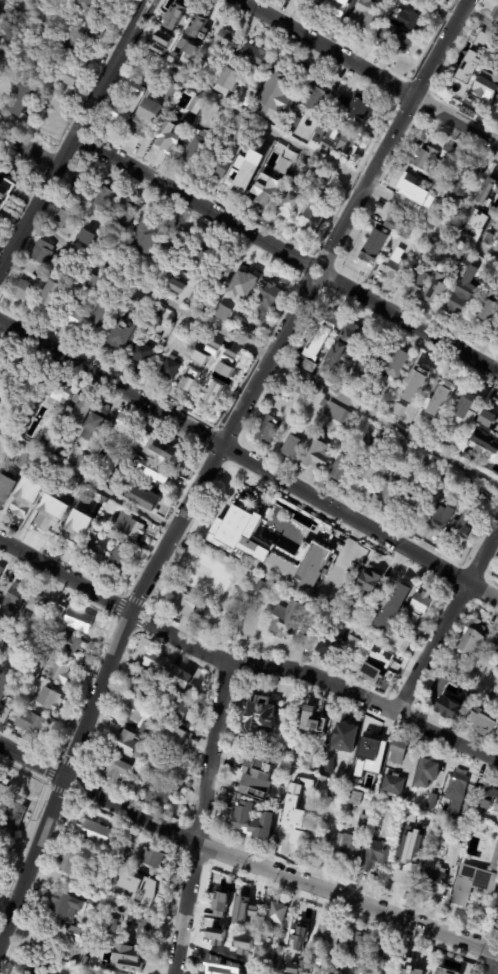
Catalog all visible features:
building: (18, 1)
building: (317, 1)
building: (410, 1)
building: (91, 5)
building: (338, 7)
building: (365, 16)
building: (1, 17)
building: (497, 17)
building: (175, 19)
building: (409, 20)
building: (89, 29)
building: (199, 29)
building: (163, 38)
building: (393, 39)
building: (223, 42)
building: (67, 46)
building: (157, 47)
building: (198, 49)
building: (161, 52)
building: (177, 52)
building: (255, 56)
building: (10, 71)
road: (368, 71)
building: (67, 76)
building: (303, 76)
building: (462, 81)
building: (229, 82)
building: (484, 93)
building: (316, 96)
building: (276, 97)
building: (21, 100)
building: (127, 106)
building: (197, 106)
building: (357, 108)
building: (152, 114)
power tower: (93, 125)
road: (395, 131)
road: (73, 133)
building: (322, 133)
building: (169, 136)
building: (234, 136)
building: (343, 141)
building: (196, 148)
road: (28, 149)
road: (309, 151)
building: (452, 155)
building: (428, 159)
building: (220, 167)
building: (284, 167)
building: (250, 169)
building: (326, 178)
building: (335, 180)
building: (463, 184)
building: (79, 187)
building: (409, 187)
building: (266, 190)
building: (0, 192)
building: (295, 193)
road: (190, 199)
building: (105, 201)
building: (487, 201)
building: (3, 202)
building: (124, 214)
building: (63, 217)
building: (314, 217)
building: (393, 220)
building: (405, 231)
building: (146, 237)
building: (89, 239)
building: (175, 243)
building: (442, 243)
building: (373, 247)
building: (43, 254)
building: (459, 254)
building: (205, 255)
building: (466, 264)
road: (307, 265)
building: (397, 266)
building: (223, 269)
road: (326, 275)
building: (246, 281)
building: (90, 282)
building: (418, 282)
building: (176, 289)
building: (23, 291)
building: (437, 291)
building: (466, 295)
building: (52, 298)
building: (91, 299)
building: (269, 301)
building: (158, 310)
building: (207, 312)
building: (222, 312)
building: (490, 313)
building: (238, 315)
building: (73, 318)
building: (99, 320)
road: (412, 323)
building: (248, 334)
building: (323, 336)
building: (118, 339)
building: (347, 344)
building: (202, 347)
building: (0, 348)
building: (1, 351)
road: (262, 352)
building: (142, 355)
building: (369, 355)
building: (399, 364)
building: (309, 366)
building: (192, 367)
building: (170, 370)
building: (188, 373)
building: (217, 375)
building: (333, 380)
building: (32, 383)
building: (416, 385)
building: (58, 391)
building: (444, 396)
building: (324, 403)
building: (465, 408)
building: (80, 409)
building: (399, 410)
building: (338, 415)
building: (488, 419)
building: (96, 424)
building: (423, 424)
building: (125, 427)
building: (268, 430)
building: (0, 440)
building: (367, 440)
building: (480, 445)
building: (293, 446)
building: (58, 448)
building: (159, 450)
building: (319, 455)
road: (249, 460)
building: (25, 462)
building: (82, 463)
building: (341, 469)
building: (107, 471)
building: (494, 471)
building: (156, 473)
building: (368, 478)
road: (87, 480)
building: (6, 487)
building: (392, 491)
building: (74, 492)
building: (27, 498)
building: (147, 500)
building: (85, 504)
building: (411, 506)
building: (51, 514)
building: (442, 518)
building: (462, 526)
building: (130, 527)
building: (78, 529)
building: (269, 551)
building: (95, 553)
building: (119, 561)
building: (1, 571)
building: (200, 573)
building: (374, 576)
building: (14, 599)
road: (135, 600)
building: (186, 605)
building: (37, 607)
building: (419, 607)
building: (393, 609)
building: (60, 612)
building: (172, 617)
building: (0, 619)
road: (446, 619)
building: (288, 620)
building: (79, 621)
building: (426, 621)
building: (414, 631)
building: (4, 632)
building: (475, 638)
building: (70, 644)
building: (401, 644)
building: (494, 646)
building: (331, 648)
building: (352, 654)
building: (384, 658)
building: (34, 659)
building: (15, 660)
road: (243, 665)
building: (168, 670)
building: (59, 672)
building: (374, 675)
building: (2, 687)
building: (145, 691)
building: (18, 696)
building: (49, 700)
building: (451, 703)
building: (183, 709)
building: (140, 712)
building: (6, 714)
building: (260, 717)
building: (480, 719)
building: (315, 721)
building: (28, 722)
building: (114, 728)
building: (496, 730)
building: (149, 731)
building: (10, 737)
building: (497, 737)
building: (347, 738)
building: (178, 741)
building: (373, 744)
building: (128, 745)
building: (399, 751)
building: (362, 760)
building: (170, 765)
building: (330, 765)
building: (150, 768)
building: (114, 769)
building: (137, 772)
building: (293, 773)
building: (428, 773)
building: (259, 778)
building: (393, 785)
building: (330, 792)
building: (3, 794)
building: (159, 795)
building: (292, 797)
building: (458, 797)
building: (491, 797)
building: (355, 798)
building: (432, 801)
road: (200, 818)
building: (253, 821)
building: (9, 822)
building: (363, 822)
building: (296, 828)
building: (95, 831)
building: (462, 832)
building: (318, 843)
building: (411, 844)
building: (351, 849)
building: (125, 850)
building: (420, 854)
building: (377, 855)
building: (110, 858)
building: (153, 858)
road: (243, 861)
building: (73, 865)
building: (406, 875)
building: (433, 878)
building: (473, 879)
building: (118, 883)
building: (145, 888)
building: (219, 895)
building: (93, 900)
building: (153, 905)
building: (246, 905)
building: (63, 907)
building: (258, 910)
building: (275, 913)
building: (450, 913)
building: (462, 915)
building: (109, 924)
building: (300, 925)
building: (141, 929)
building: (329, 931)
building: (312, 934)
building: (76, 935)
building: (216, 937)
building: (223, 937)
building: (45, 944)
building: (355, 945)
building: (243, 948)
building: (384, 951)
building: (255, 954)
building: (132, 959)
building: (276, 959)
building: (323, 959)
building: (95, 960)
building: (409, 961)
road: (488, 962)
building: (211, 964)
building: (452, 965)
building: (320, 969)
building: (35, 970)
building: (438, 973)

